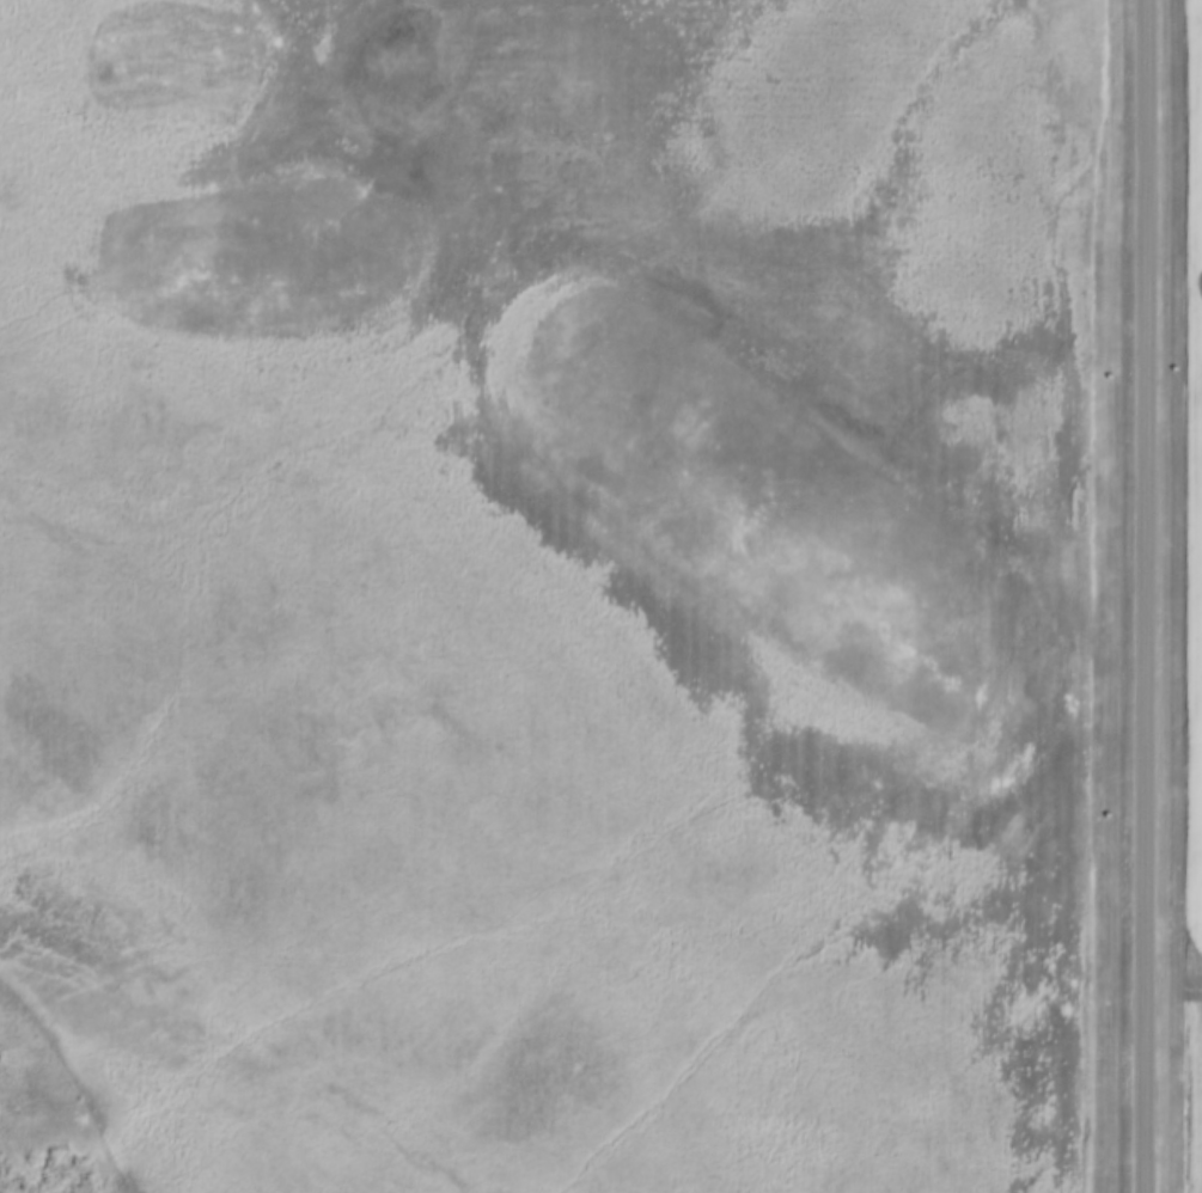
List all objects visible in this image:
road: (1142, 595)

